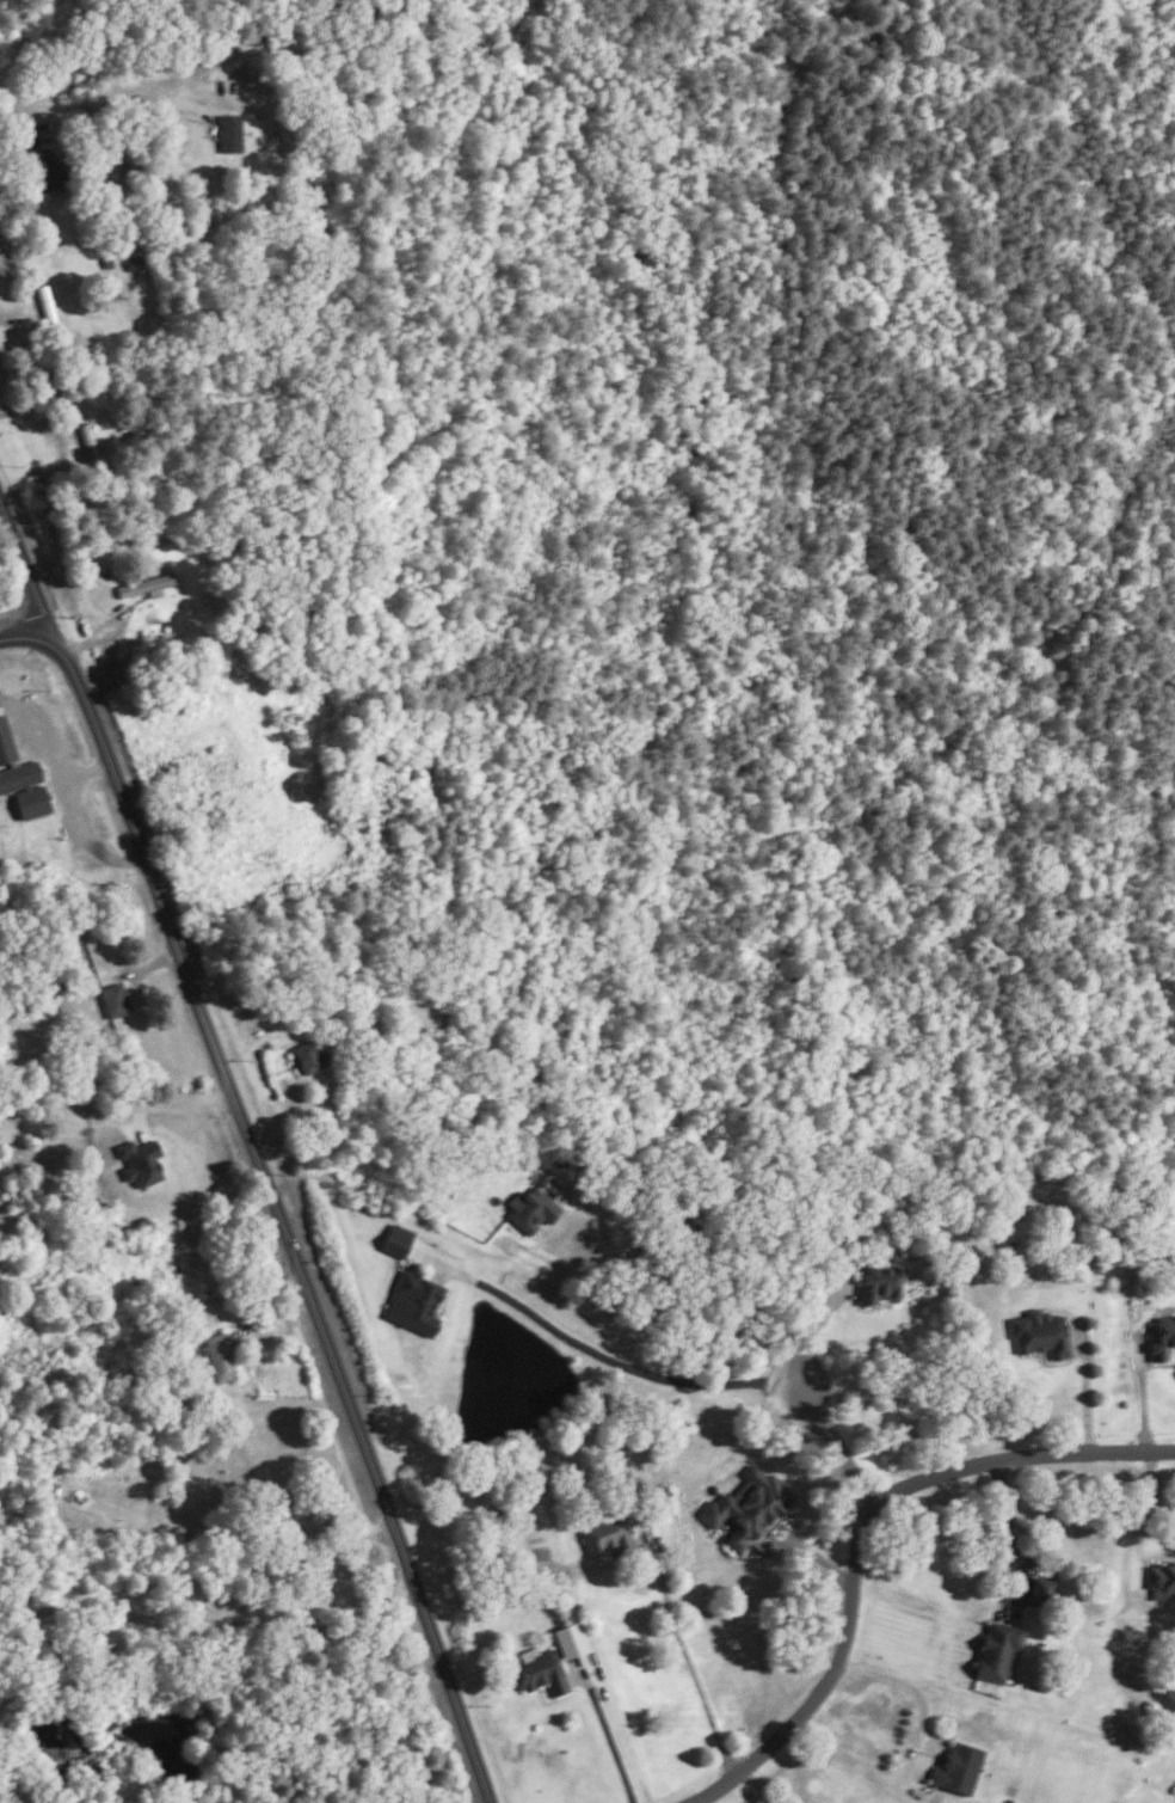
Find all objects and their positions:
road: (100, 108)
building: (229, 133)
building: (134, 260)
building: (45, 305)
building: (87, 440)
road: (26, 566)
building: (144, 585)
road: (19, 634)
building: (5, 742)
road: (87, 773)
road: (64, 786)
building: (25, 787)
building: (115, 999)
building: (310, 1056)
building: (140, 1161)
building: (531, 1208)
road: (277, 1212)
building: (398, 1239)
road: (702, 1277)
building: (879, 1282)
building: (414, 1302)
road: (813, 1324)
building: (1039, 1332)
building: (1162, 1337)
road: (596, 1351)
building: (219, 1356)
road: (1084, 1403)
road: (841, 1447)
building: (748, 1505)
road: (1144, 1516)
road: (1010, 1532)
building: (607, 1534)
road: (250, 1537)
road: (863, 1538)
building: (1162, 1581)
building: (1032, 1590)
road: (211, 1620)
building: (570, 1639)
building: (997, 1649)
road: (694, 1669)
building: (539, 1673)
road: (604, 1733)
road: (910, 1754)
building: (958, 1767)
road: (751, 1789)

